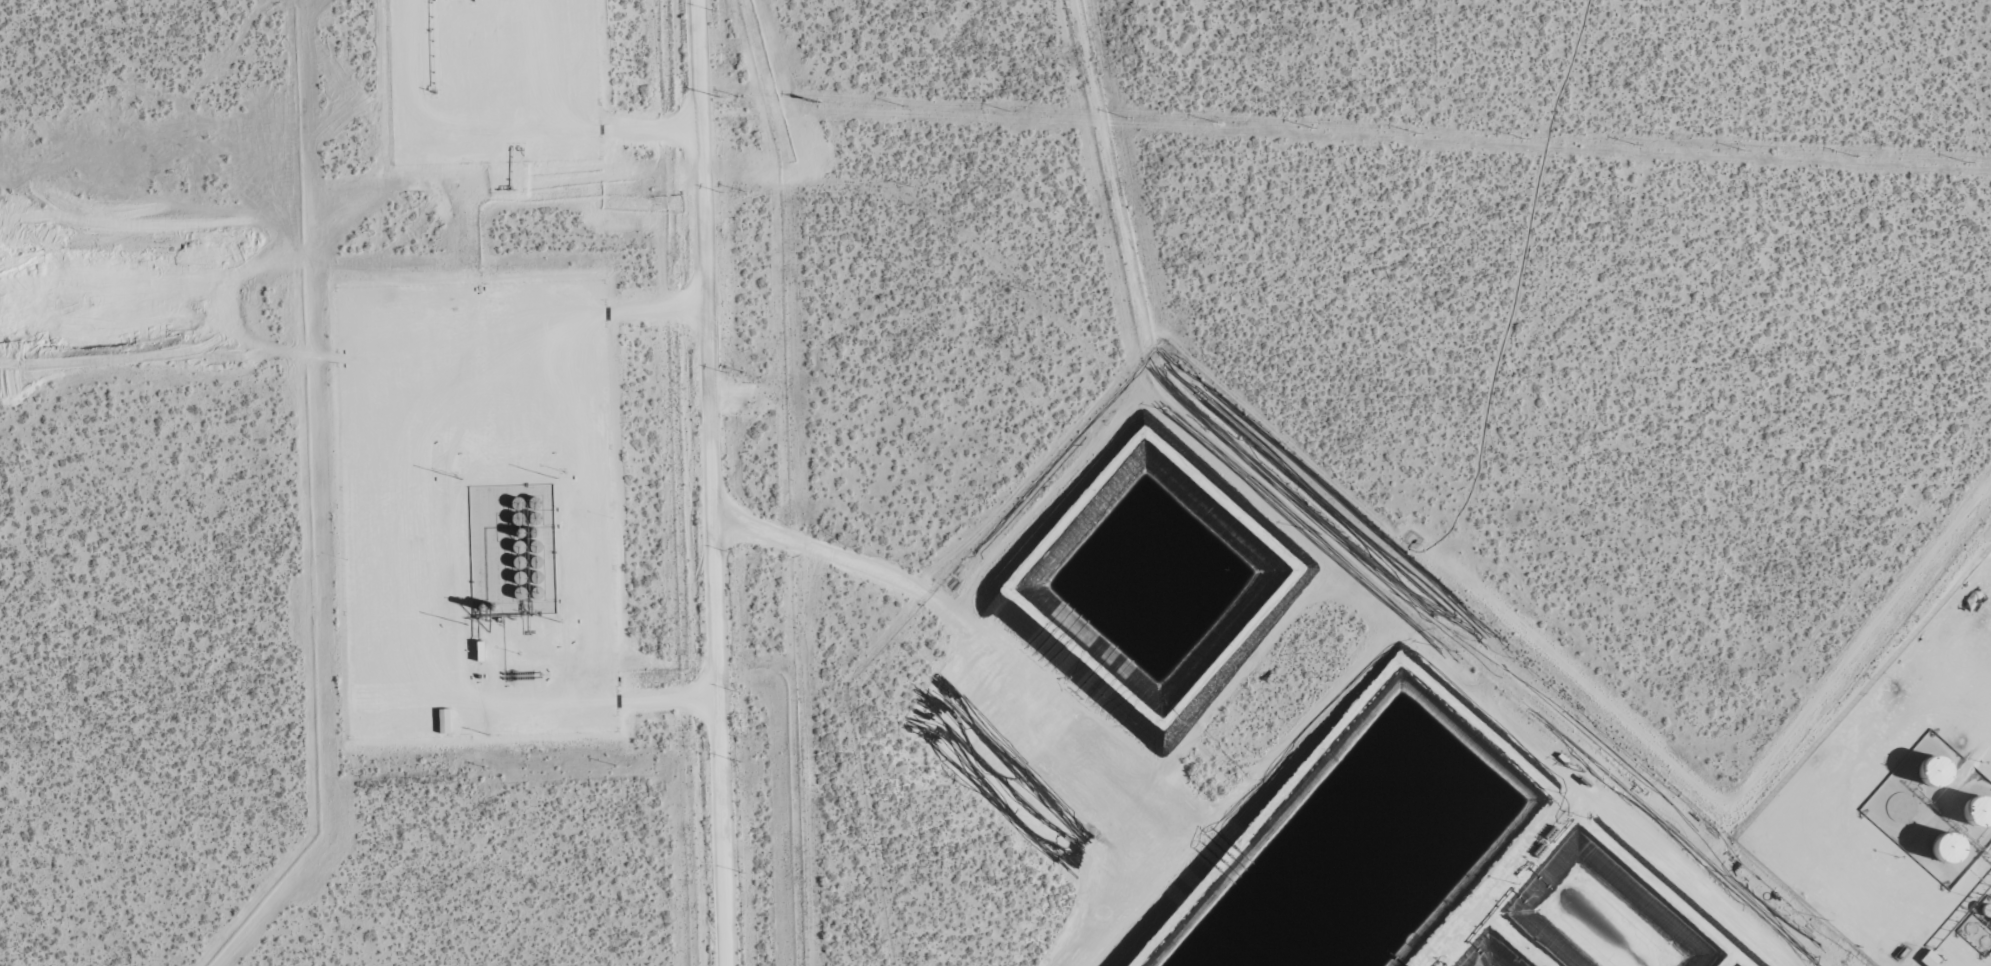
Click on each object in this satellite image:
road: (695, 151)
road: (699, 452)
road: (719, 783)
building: (1977, 811)
building: (1945, 847)

